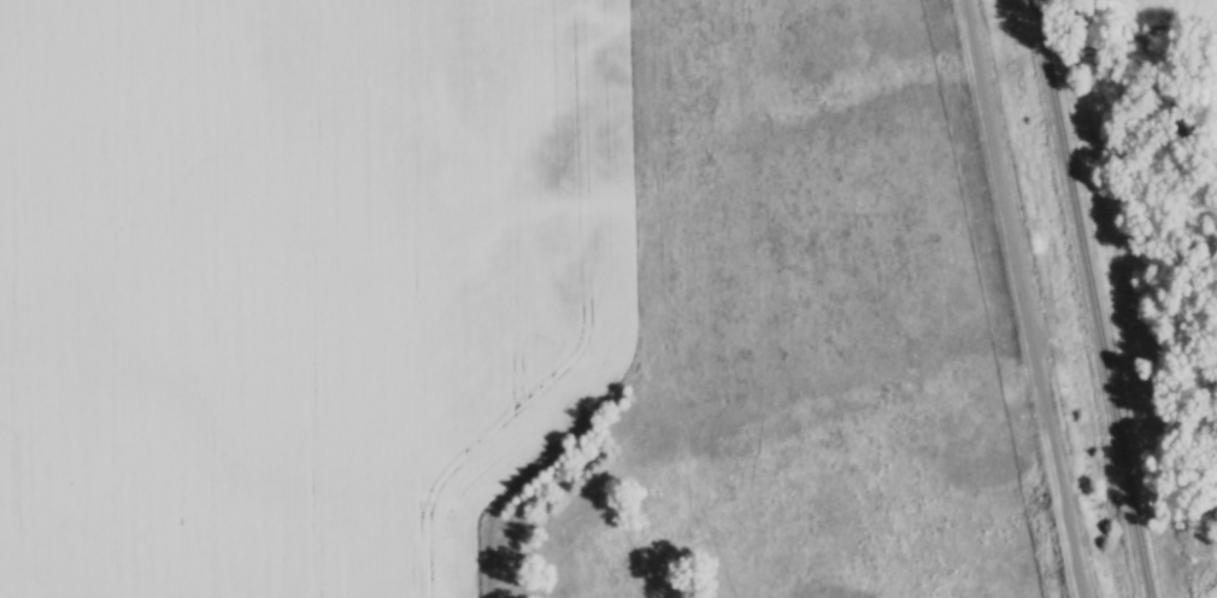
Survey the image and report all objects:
railway: (1035, 2)
road: (1027, 298)
railway: (1094, 301)

